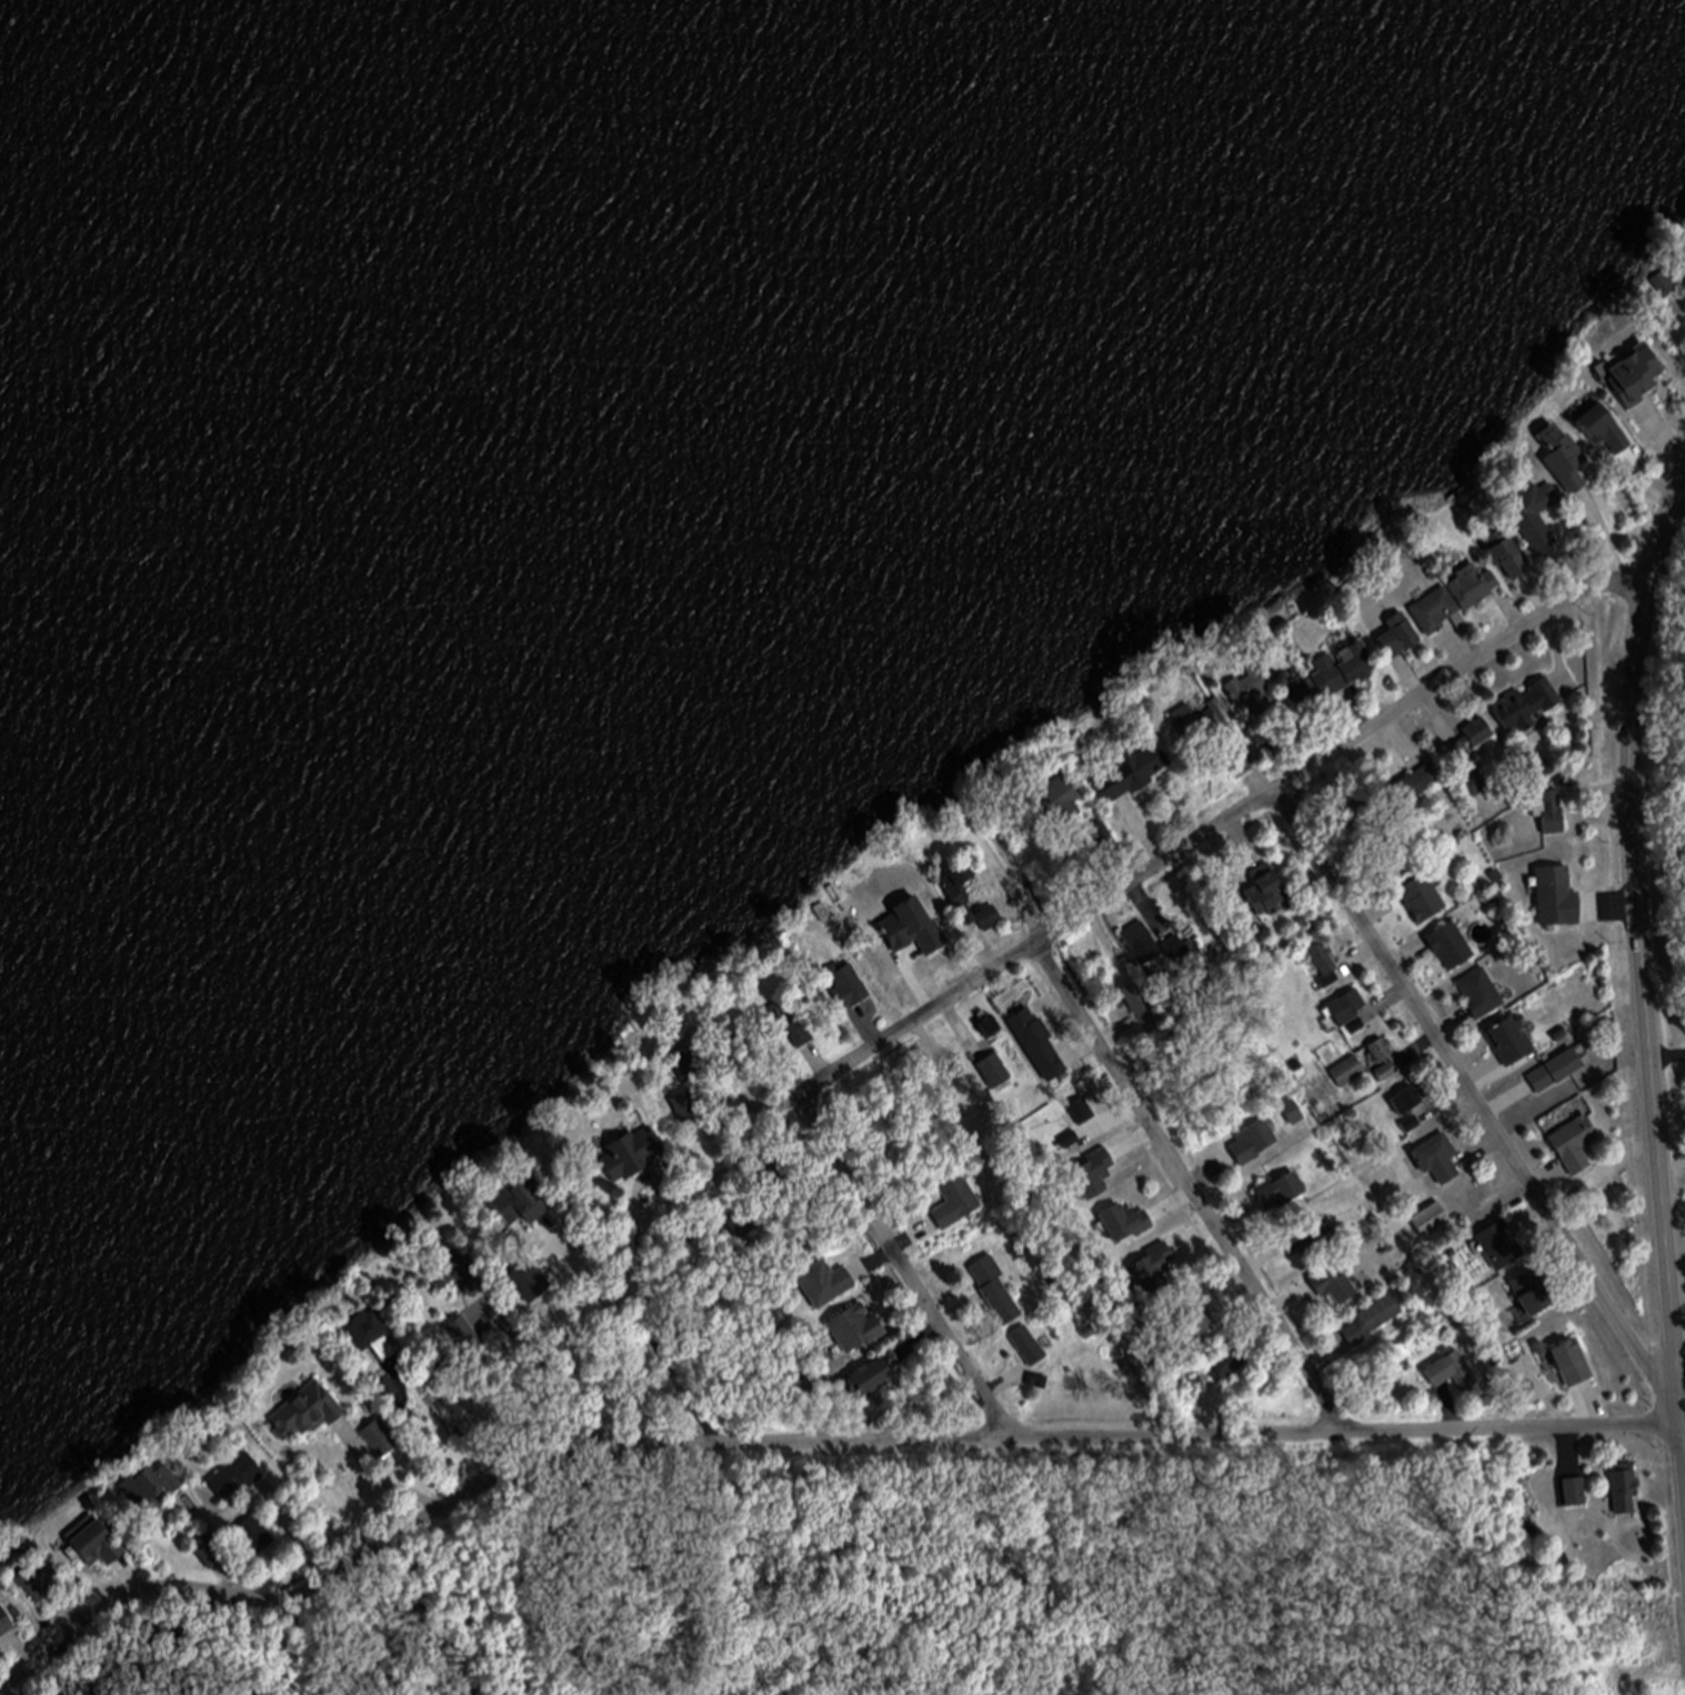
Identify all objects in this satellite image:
building: (1636, 381)
building: (1599, 429)
building: (1564, 464)
building: (1532, 508)
building: (1505, 558)
building: (1473, 589)
building: (1438, 618)
building: (1398, 641)
building: (1343, 675)
building: (1297, 696)
building: (1251, 698)
building: (1527, 708)
building: (1193, 725)
building: (1307, 730)
building: (1260, 738)
building: (1473, 741)
building: (1539, 769)
building: (1240, 772)
building: (1129, 774)
building: (1476, 785)
building: (1412, 788)
building: (1063, 801)
building: (1552, 814)
building: (1356, 818)
road: (1231, 820)
building: (1106, 843)
building: (1496, 877)
building: (1265, 891)
building: (961, 893)
building: (1557, 899)
building: (1423, 901)
building: (1224, 905)
building: (824, 915)
building: (919, 917)
building: (990, 921)
building: (1143, 945)
building: (1451, 947)
building: (1175, 949)
building: (885, 955)
building: (1325, 966)
road: (1646, 974)
building: (849, 990)
building: (1481, 994)
building: (1142, 1006)
building: (1346, 1009)
building: (1268, 1025)
building: (992, 1029)
building: (1355, 1029)
building: (786, 1030)
building: (1559, 1036)
building: (1510, 1041)
building: (1333, 1052)
building: (1382, 1052)
building: (1041, 1054)
building: (692, 1064)
building: (1555, 1071)
building: (995, 1072)
building: (1350, 1073)
building: (1386, 1074)
building: (1318, 1080)
building: (1059, 1086)
road: (1476, 1094)
building: (688, 1107)
building: (1410, 1109)
building: (1293, 1112)
building: (1083, 1113)
building: (1071, 1142)
building: (1254, 1143)
building: (1575, 1145)
road: (1175, 1153)
building: (632, 1155)
building: (1438, 1160)
building: (1350, 1173)
building: (1095, 1175)
building: (1282, 1192)
building: (956, 1201)
building: (521, 1205)
building: (1431, 1222)
building: (1126, 1223)
building: (742, 1225)
building: (599, 1228)
building: (1307, 1237)
building: (1404, 1237)
building: (1390, 1246)
building: (1501, 1247)
road: (909, 1268)
building: (1154, 1268)
building: (455, 1275)
building: (529, 1282)
building: (826, 1285)
building: (1334, 1287)
building: (996, 1293)
building: (1533, 1294)
building: (1456, 1321)
building: (1372, 1322)
road: (612, 1328)
road: (654, 1328)
building: (1194, 1328)
building: (856, 1330)
building: (1444, 1330)
building: (775, 1332)
building: (1090, 1332)
building: (464, 1335)
building: (1162, 1335)
building: (374, 1336)
building: (1030, 1347)
building: (1542, 1350)
road: (1681, 1352)
building: (1495, 1362)
building: (1572, 1363)
building: (1226, 1367)
road: (545, 1372)
building: (1451, 1372)
building: (871, 1373)
building: (388, 1390)
building: (309, 1413)
building: (381, 1438)
road: (803, 1443)
road: (425, 1444)
building: (237, 1477)
road: (387, 1483)
building: (1623, 1483)
building: (150, 1488)
building: (1575, 1494)
building: (1532, 1531)
building: (255, 1536)
building: (94, 1545)
building: (210, 1553)
building: (62, 1576)
building: (36, 1587)
building: (81, 1593)
building: (4, 1624)

